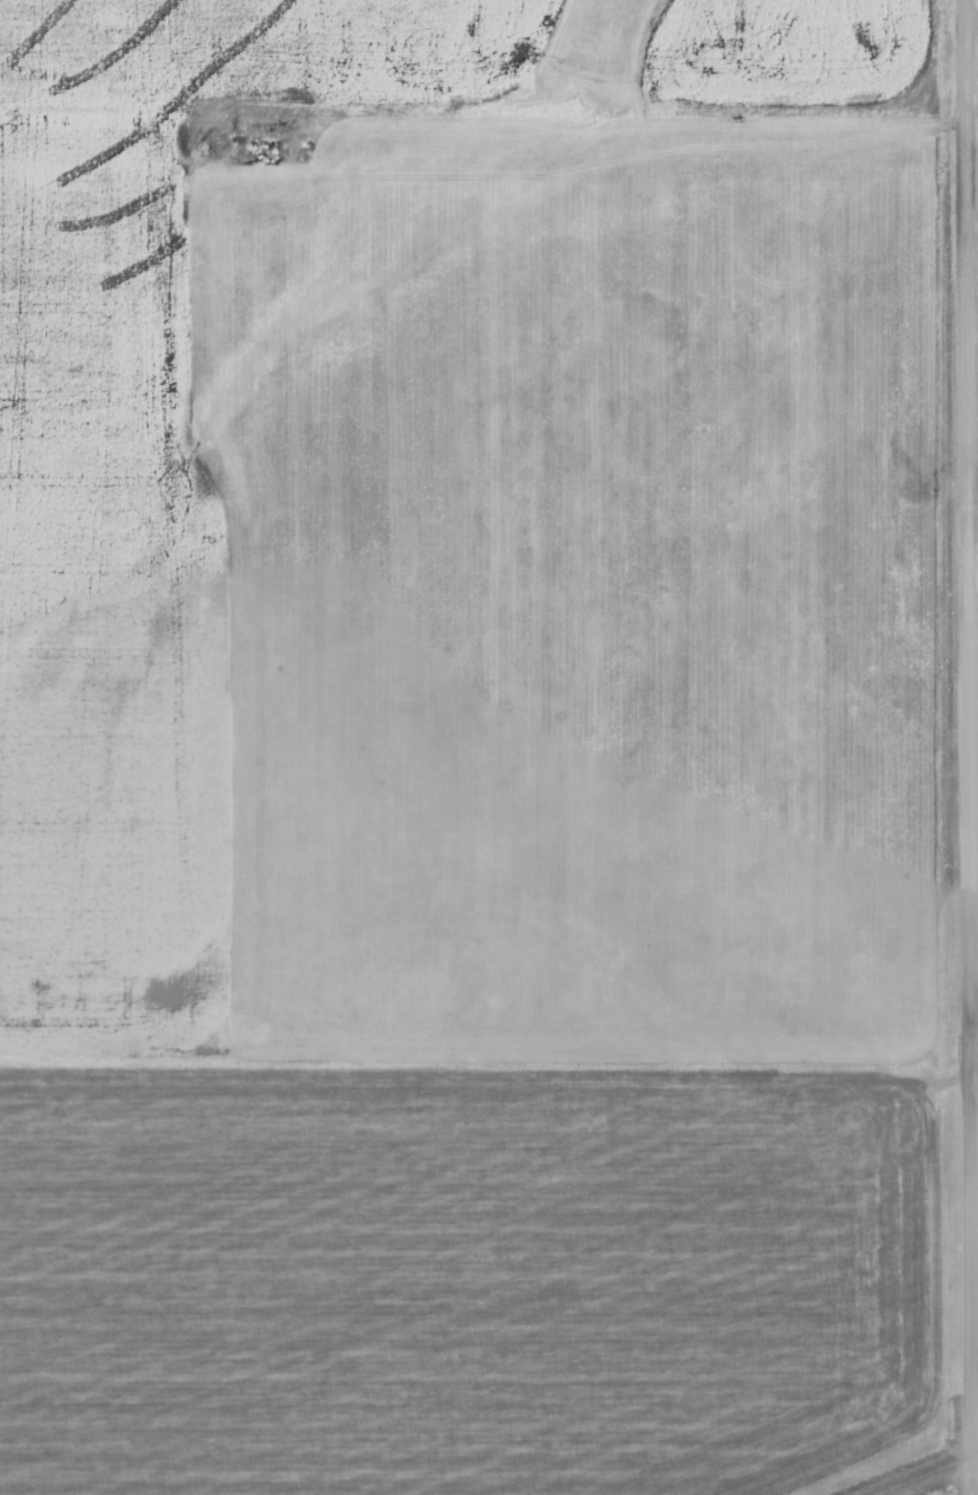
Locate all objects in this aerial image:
road: (975, 747)
railway: (931, 1475)

